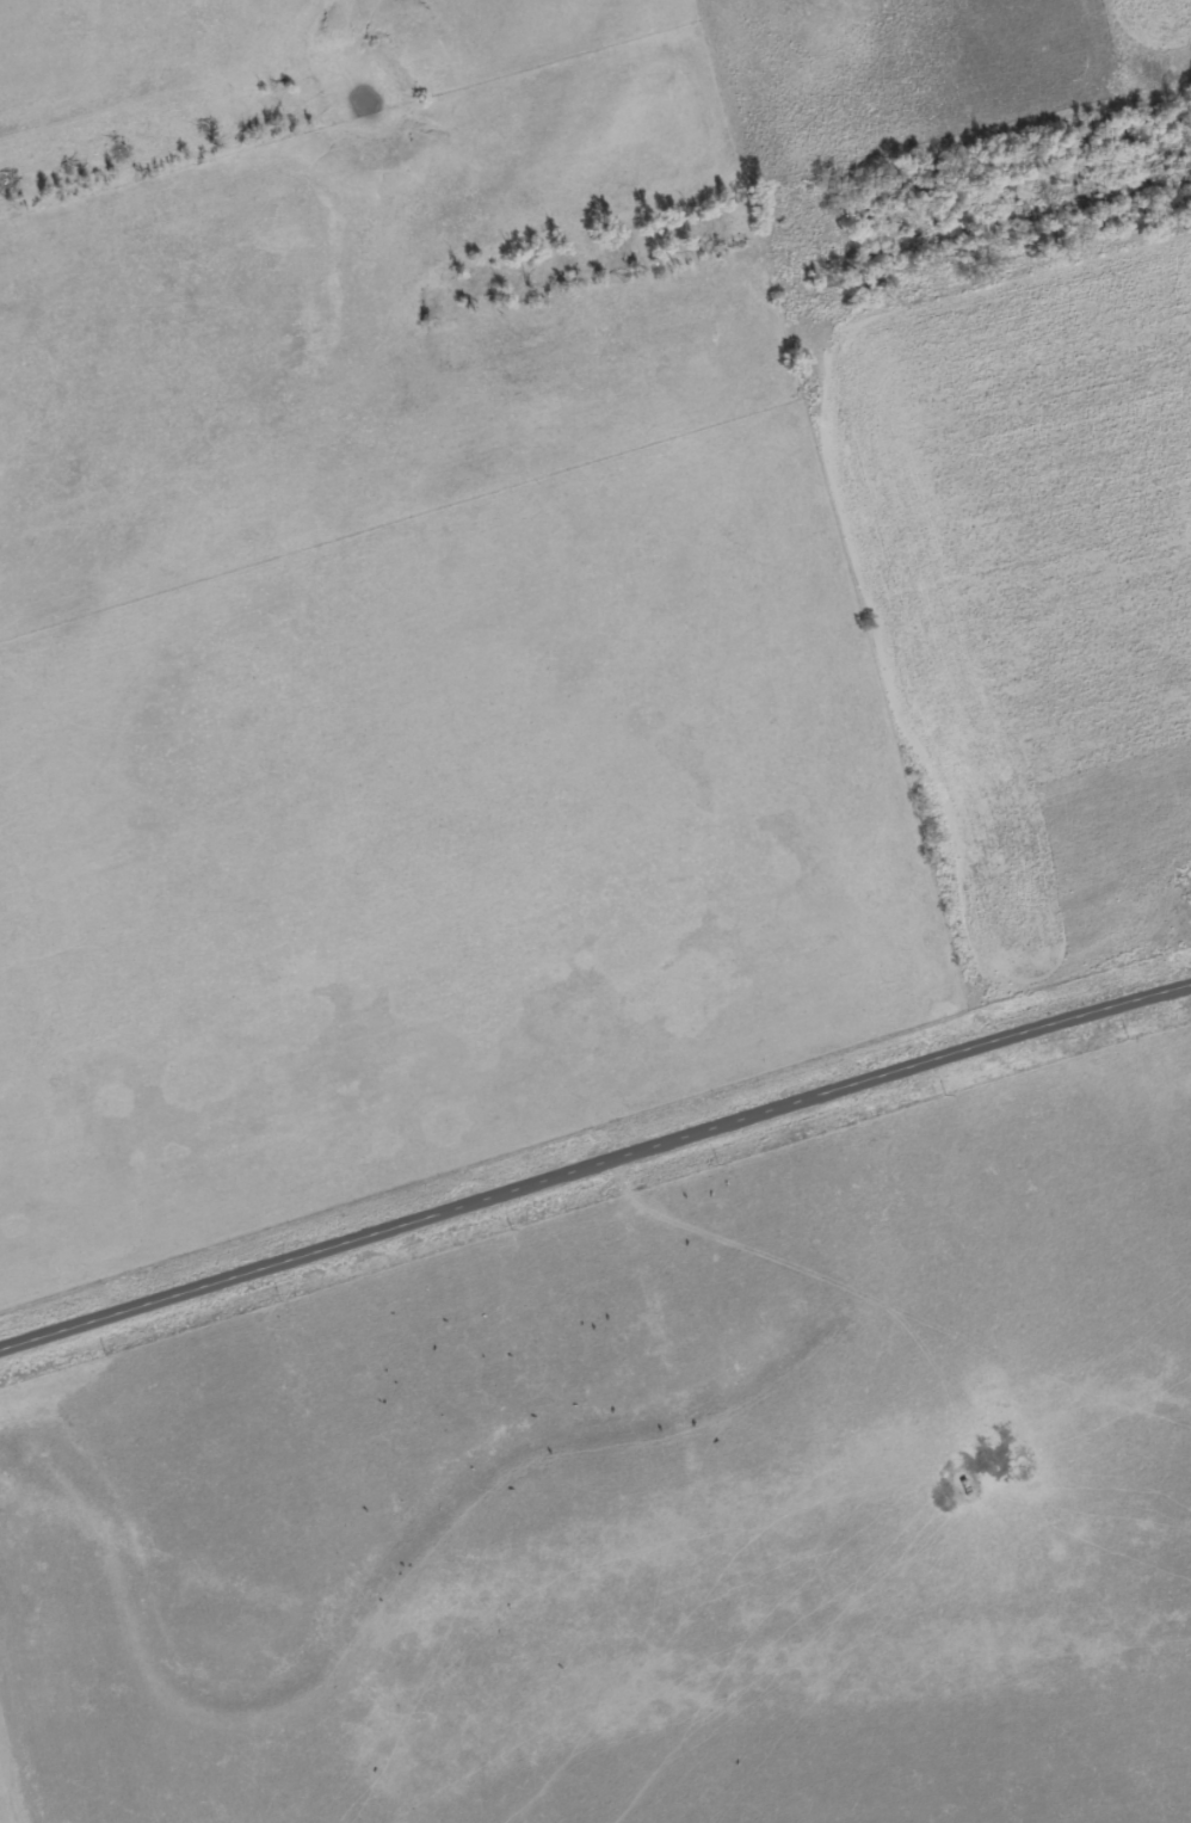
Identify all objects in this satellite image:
road: (594, 1193)

